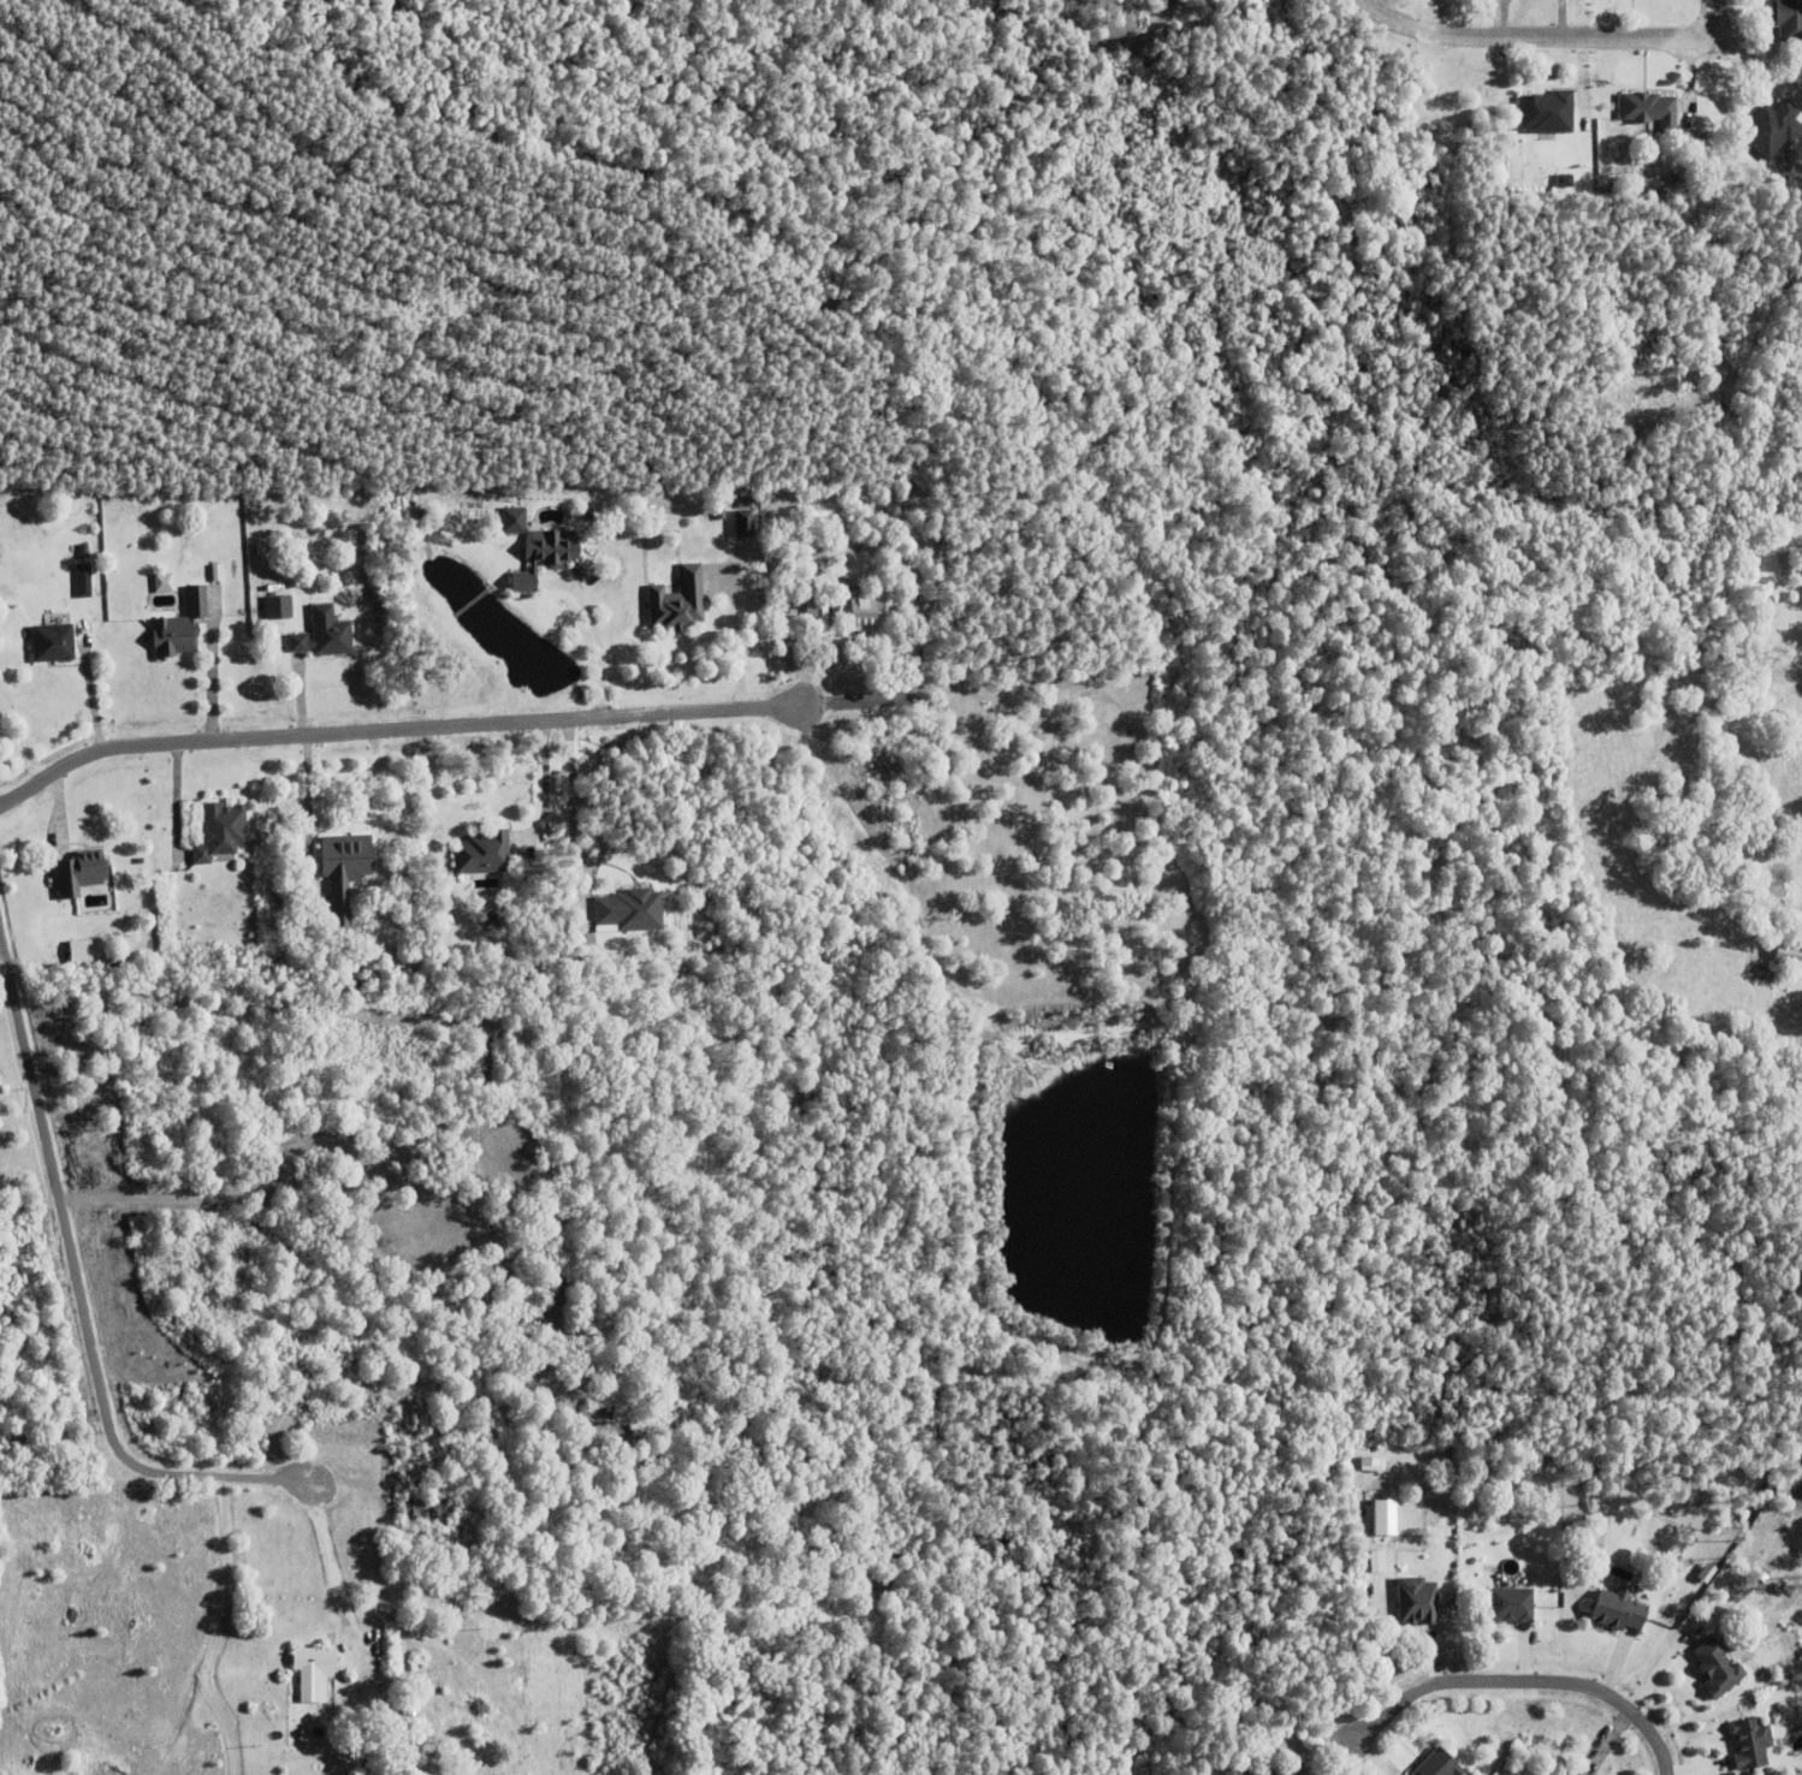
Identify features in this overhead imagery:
road: (1701, 13)
building: (1788, 22)
road: (1525, 35)
road: (1748, 60)
road: (1227, 61)
building: (1649, 112)
building: (1548, 115)
building: (1772, 131)
building: (1674, 180)
building: (1565, 183)
building: (494, 503)
building: (748, 505)
building: (589, 515)
building: (545, 552)
building: (217, 570)
building: (84, 578)
building: (165, 581)
building: (678, 598)
building: (278, 605)
building: (865, 607)
building: (180, 623)
building: (324, 631)
building: (52, 640)
road: (599, 647)
road: (456, 728)
road: (543, 785)
building: (221, 829)
road: (573, 836)
building: (379, 847)
building: (484, 850)
building: (345, 869)
building: (82, 871)
road: (1, 938)
building: (83, 949)
building: (1788, 951)
road: (79, 1284)
building: (1471, 1485)
building: (426, 1509)
building: (1388, 1515)
building: (1379, 1560)
road: (330, 1567)
building: (1762, 1575)
building: (1417, 1601)
building: (1510, 1604)
building: (1618, 1610)
road: (220, 1631)
building: (316, 1658)
building: (1717, 1667)
road: (1529, 1680)
building: (429, 1738)
building: (1751, 1743)
building: (368, 1746)
building: (1439, 1764)
building: (1264, 1770)
building: (1582, 1773)
building: (1577, 1774)

